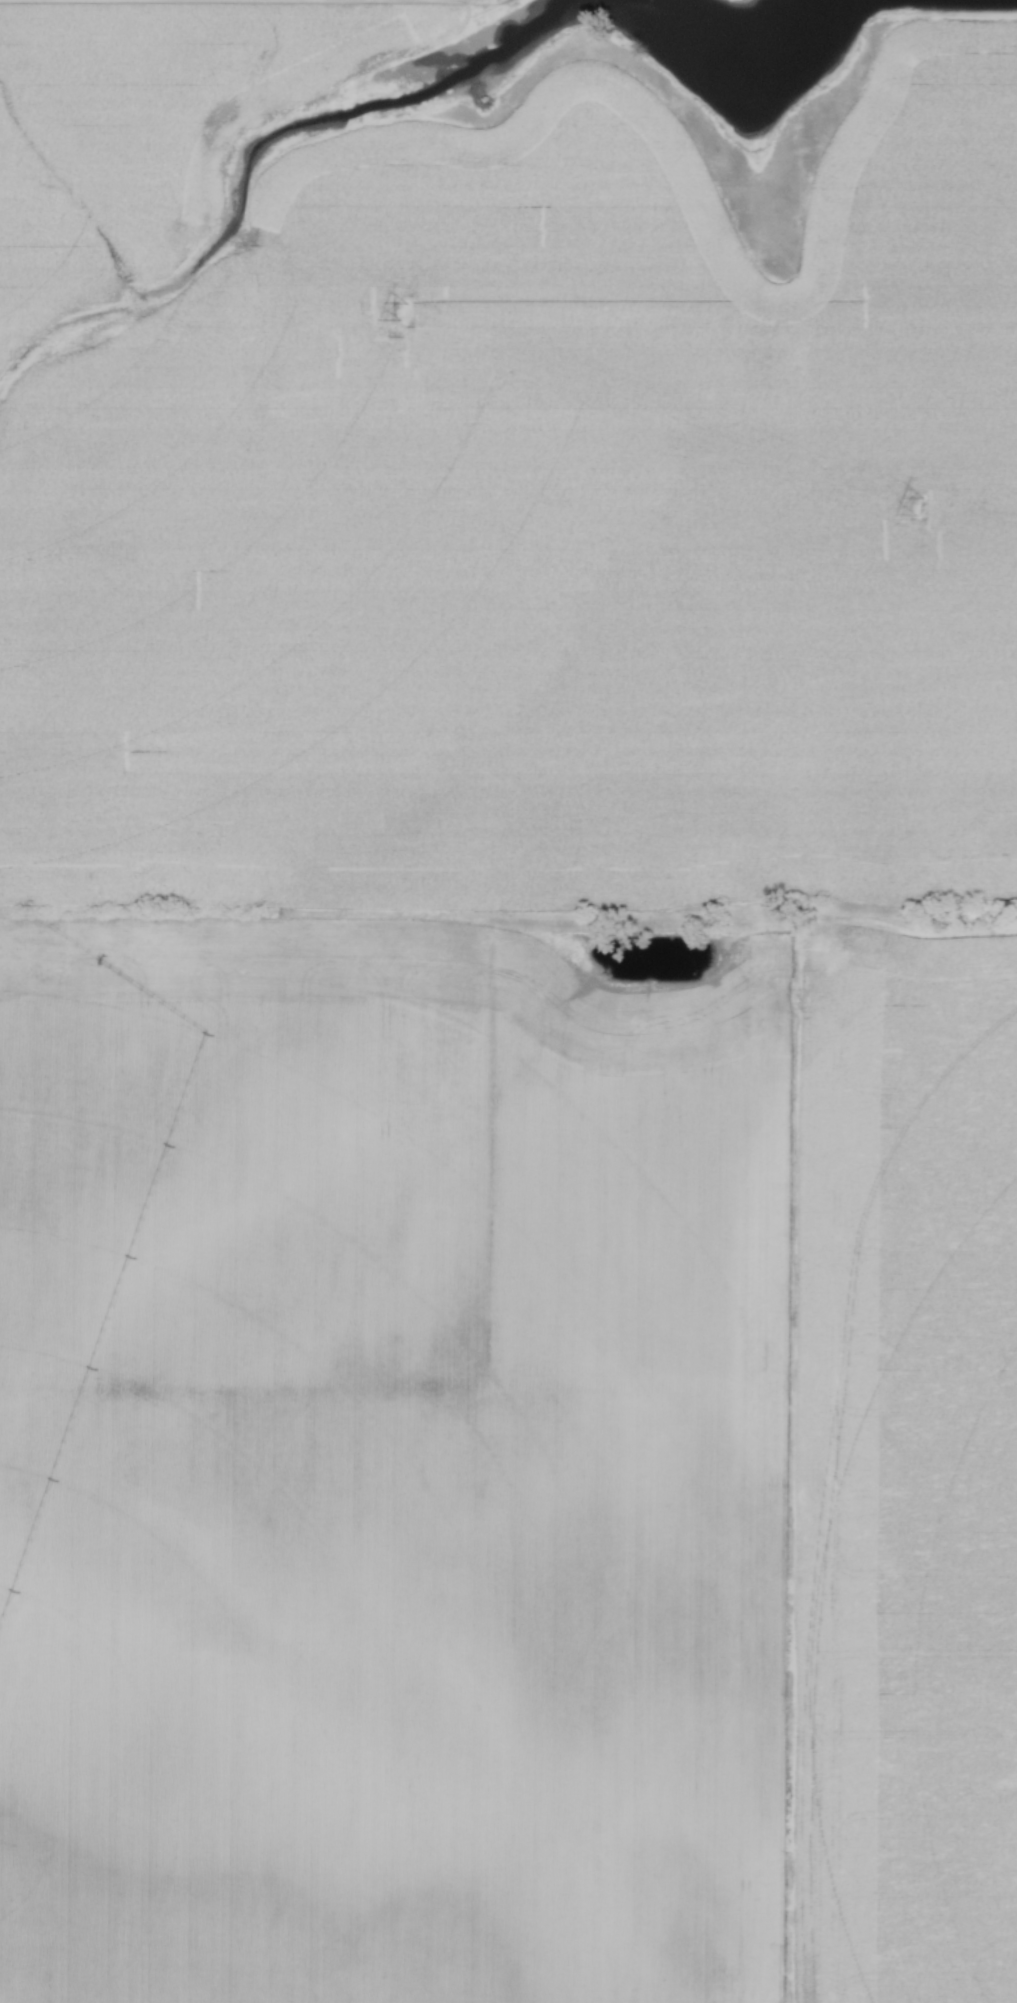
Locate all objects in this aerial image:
power tower: (463, 341)
power tower: (948, 520)

